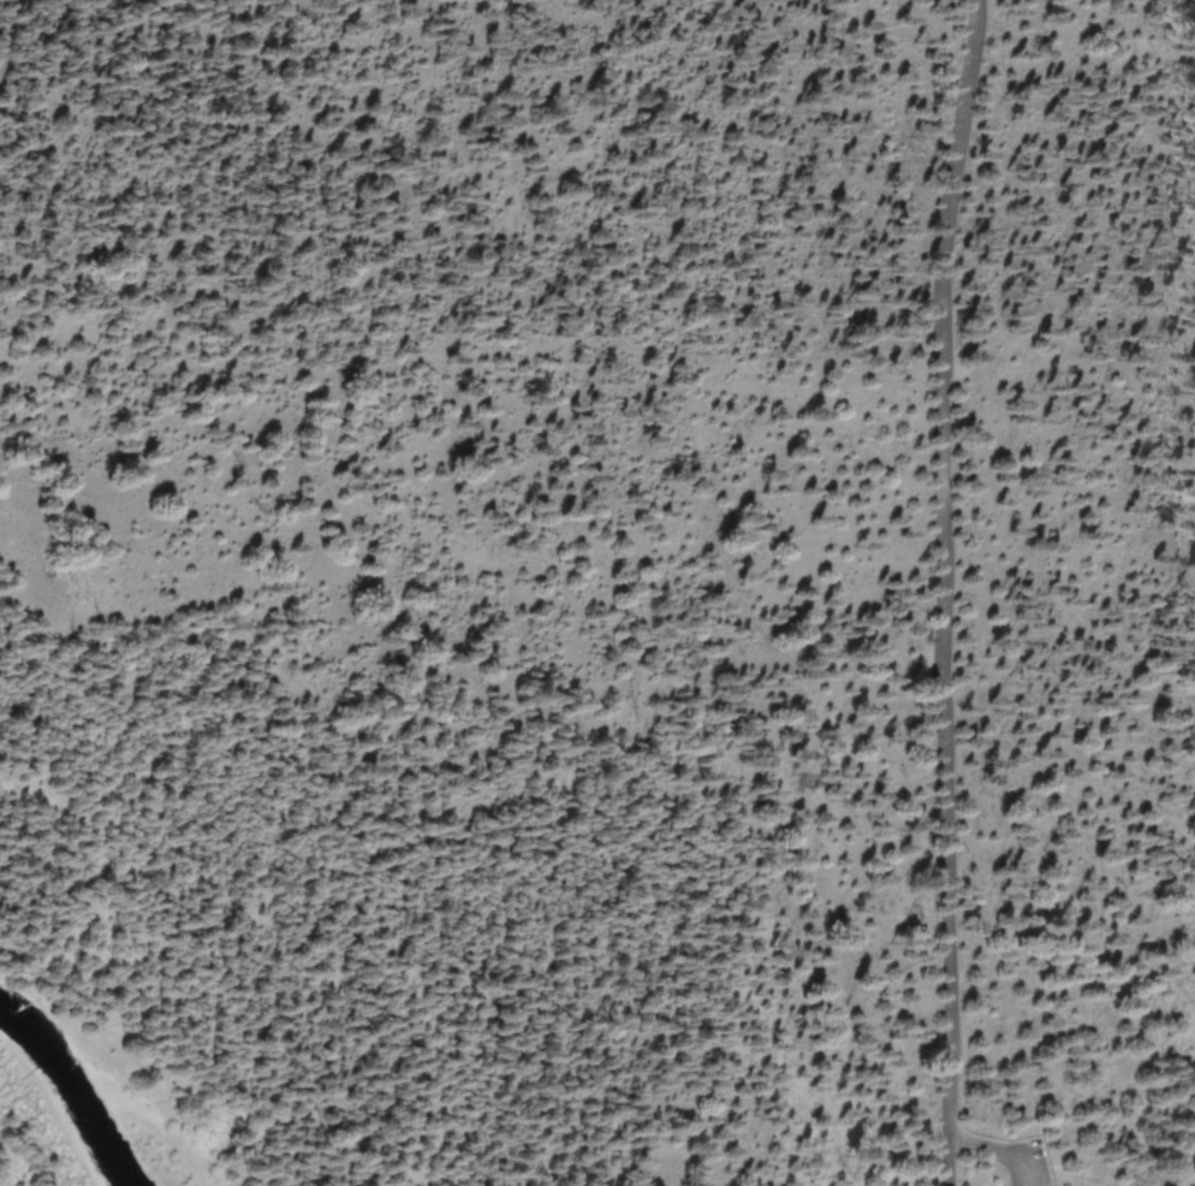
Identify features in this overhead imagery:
road: (470, 346)
road: (944, 592)
river: (67, 1105)
road: (998, 1149)
parking lot: (1033, 1179)
road: (1062, 1184)

